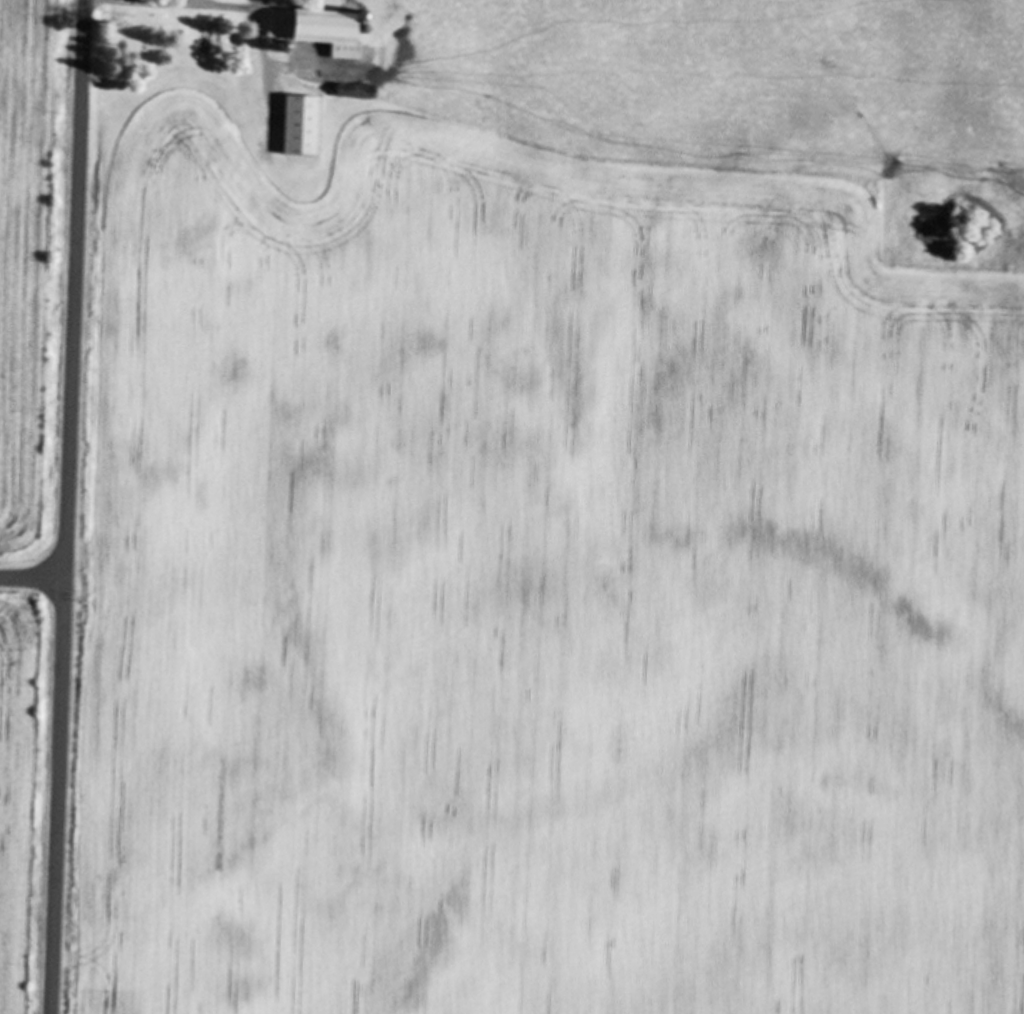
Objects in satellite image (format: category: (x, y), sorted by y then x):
road: (158, 3)
building: (313, 33)
building: (353, 92)
building: (298, 127)
road: (67, 506)
road: (32, 578)

